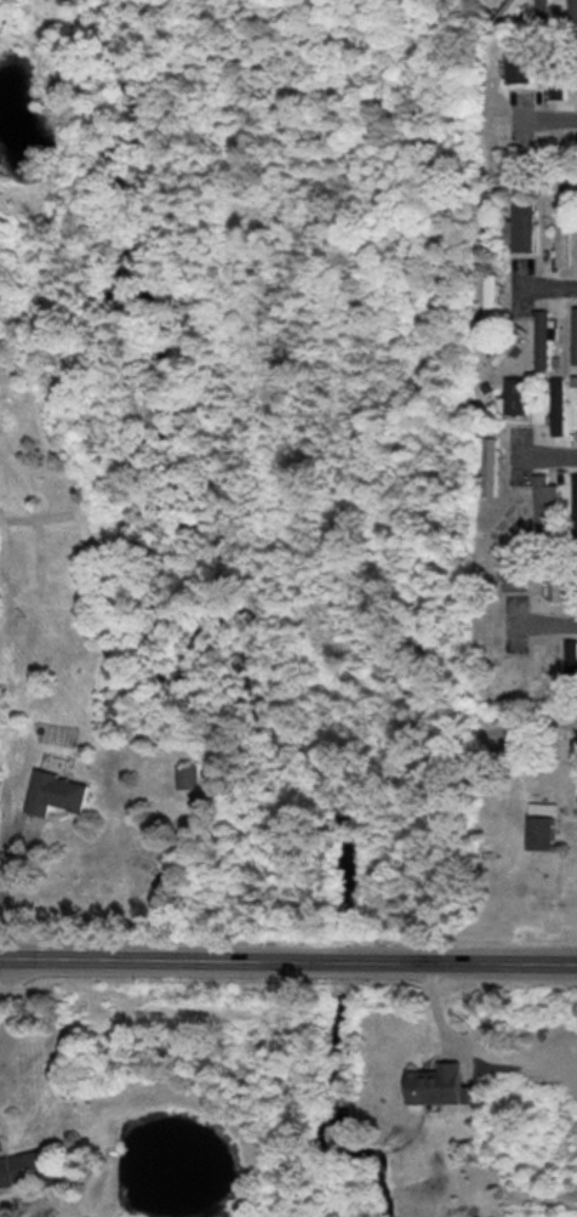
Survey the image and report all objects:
building: (509, 11)
building: (573, 13)
building: (543, 15)
building: (518, 67)
building: (559, 89)
road: (545, 118)
building: (573, 159)
building: (522, 228)
building: (562, 238)
road: (544, 285)
building: (492, 297)
building: (575, 335)
building: (544, 339)
building: (515, 397)
building: (559, 406)
road: (545, 455)
building: (491, 467)
building: (575, 505)
building: (548, 506)
building: (518, 569)
building: (556, 585)
road: (544, 624)
building: (572, 660)
building: (187, 777)
building: (56, 794)
building: (544, 826)
road: (5, 885)
road: (288, 957)
building: (436, 1085)
building: (28, 1168)

